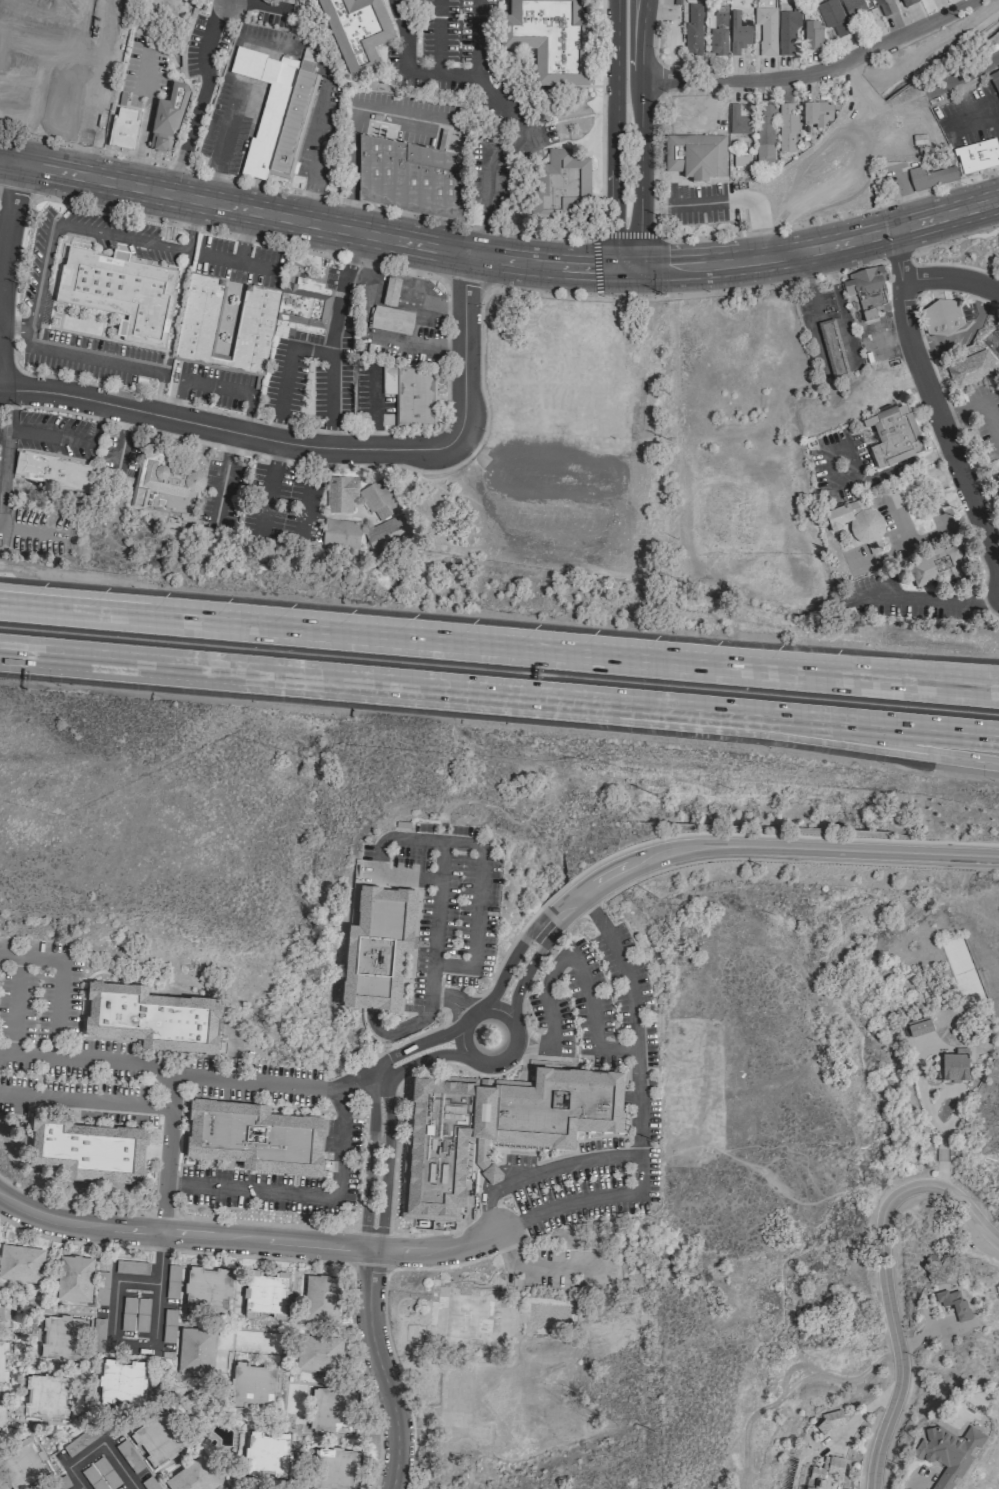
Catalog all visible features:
road: (268, 2)
building: (908, 2)
building: (884, 7)
building: (856, 14)
building: (833, 18)
building: (693, 29)
building: (766, 30)
building: (787, 31)
building: (738, 33)
building: (356, 34)
building: (718, 34)
building: (811, 35)
building: (67, 36)
road: (437, 37)
building: (551, 39)
road: (477, 40)
road: (10, 63)
road: (981, 64)
road: (812, 70)
road: (144, 72)
building: (995, 81)
road: (96, 86)
road: (493, 97)
road: (196, 100)
building: (816, 113)
road: (979, 115)
road: (42, 117)
road: (407, 117)
building: (166, 120)
building: (739, 120)
road: (226, 121)
building: (292, 124)
building: (786, 127)
building: (122, 128)
building: (765, 134)
road: (140, 135)
road: (315, 139)
road: (639, 140)
road: (613, 141)
road: (81, 142)
road: (352, 154)
building: (976, 155)
building: (696, 156)
road: (212, 174)
building: (410, 177)
building: (930, 177)
building: (563, 181)
road: (19, 191)
road: (307, 201)
road: (348, 209)
road: (411, 214)
road: (7, 225)
road: (193, 231)
road: (752, 231)
road: (594, 235)
road: (240, 236)
road: (118, 237)
road: (486, 237)
road: (243, 241)
road: (498, 246)
road: (910, 255)
traffic signals: (613, 256)
road: (896, 256)
traffic signals: (639, 257)
road: (239, 262)
road: (347, 268)
road: (498, 271)
road: (38, 275)
road: (949, 278)
road: (466, 282)
traffic signals: (612, 282)
traffic signals: (639, 282)
building: (866, 290)
building: (120, 294)
road: (688, 295)
building: (302, 311)
building: (391, 311)
building: (941, 317)
building: (198, 321)
road: (12, 325)
road: (961, 332)
road: (25, 335)
road: (309, 350)
road: (94, 357)
building: (970, 369)
road: (329, 370)
road: (215, 387)
road: (157, 391)
road: (281, 394)
building: (410, 395)
road: (370, 399)
road: (929, 400)
road: (975, 405)
road: (4, 430)
building: (892, 436)
road: (71, 438)
road: (371, 440)
road: (313, 445)
road: (6, 449)
road: (278, 451)
road: (830, 451)
road: (906, 466)
building: (52, 472)
building: (997, 480)
building: (164, 486)
road: (269, 491)
building: (340, 494)
building: (378, 499)
road: (309, 504)
road: (618, 521)
road: (283, 525)
building: (858, 525)
road: (30, 531)
building: (387, 533)
building: (340, 535)
road: (926, 539)
building: (938, 566)
road: (31, 603)
road: (937, 605)
road: (31, 607)
road: (395, 636)
road: (30, 652)
road: (30, 655)
road: (863, 669)
road: (863, 675)
road: (413, 684)
road: (883, 723)
road: (882, 741)
road: (693, 833)
road: (755, 846)
road: (380, 855)
road: (439, 866)
building: (377, 944)
road: (571, 956)
road: (505, 968)
building: (962, 973)
road: (523, 977)
road: (59, 978)
road: (452, 1000)
road: (460, 1004)
building: (151, 1015)
road: (469, 1017)
road: (634, 1018)
road: (507, 1019)
building: (919, 1027)
road: (403, 1041)
road: (415, 1045)
road: (502, 1056)
road: (26, 1057)
road: (419, 1061)
road: (113, 1062)
building: (955, 1065)
road: (195, 1078)
road: (941, 1093)
road: (85, 1098)
road: (395, 1120)
building: (492, 1127)
building: (254, 1134)
building: (85, 1146)
road: (564, 1153)
road: (634, 1154)
road: (941, 1155)
road: (501, 1160)
road: (385, 1161)
road: (369, 1162)
road: (767, 1175)
road: (940, 1175)
road: (304, 1195)
road: (71, 1207)
road: (162, 1214)
road: (971, 1215)
road: (264, 1223)
road: (371, 1230)
road: (182, 1233)
road: (172, 1249)
road: (435, 1250)
building: (21, 1263)
road: (370, 1266)
road: (537, 1266)
building: (131, 1267)
building: (74, 1279)
building: (206, 1290)
building: (266, 1293)
building: (320, 1298)
building: (954, 1304)
road: (891, 1317)
building: (467, 1318)
road: (384, 1320)
building: (62, 1338)
road: (137, 1346)
building: (195, 1350)
building: (319, 1353)
building: (1, 1362)
road: (380, 1368)
road: (363, 1377)
building: (121, 1382)
building: (252, 1383)
building: (45, 1397)
building: (333, 1409)
building: (831, 1420)
building: (157, 1439)
road: (99, 1445)
building: (947, 1453)
building: (267, 1454)
building: (833, 1463)
building: (24, 1464)
building: (333, 1468)
building: (193, 1477)
building: (815, 1477)
road: (81, 1488)

